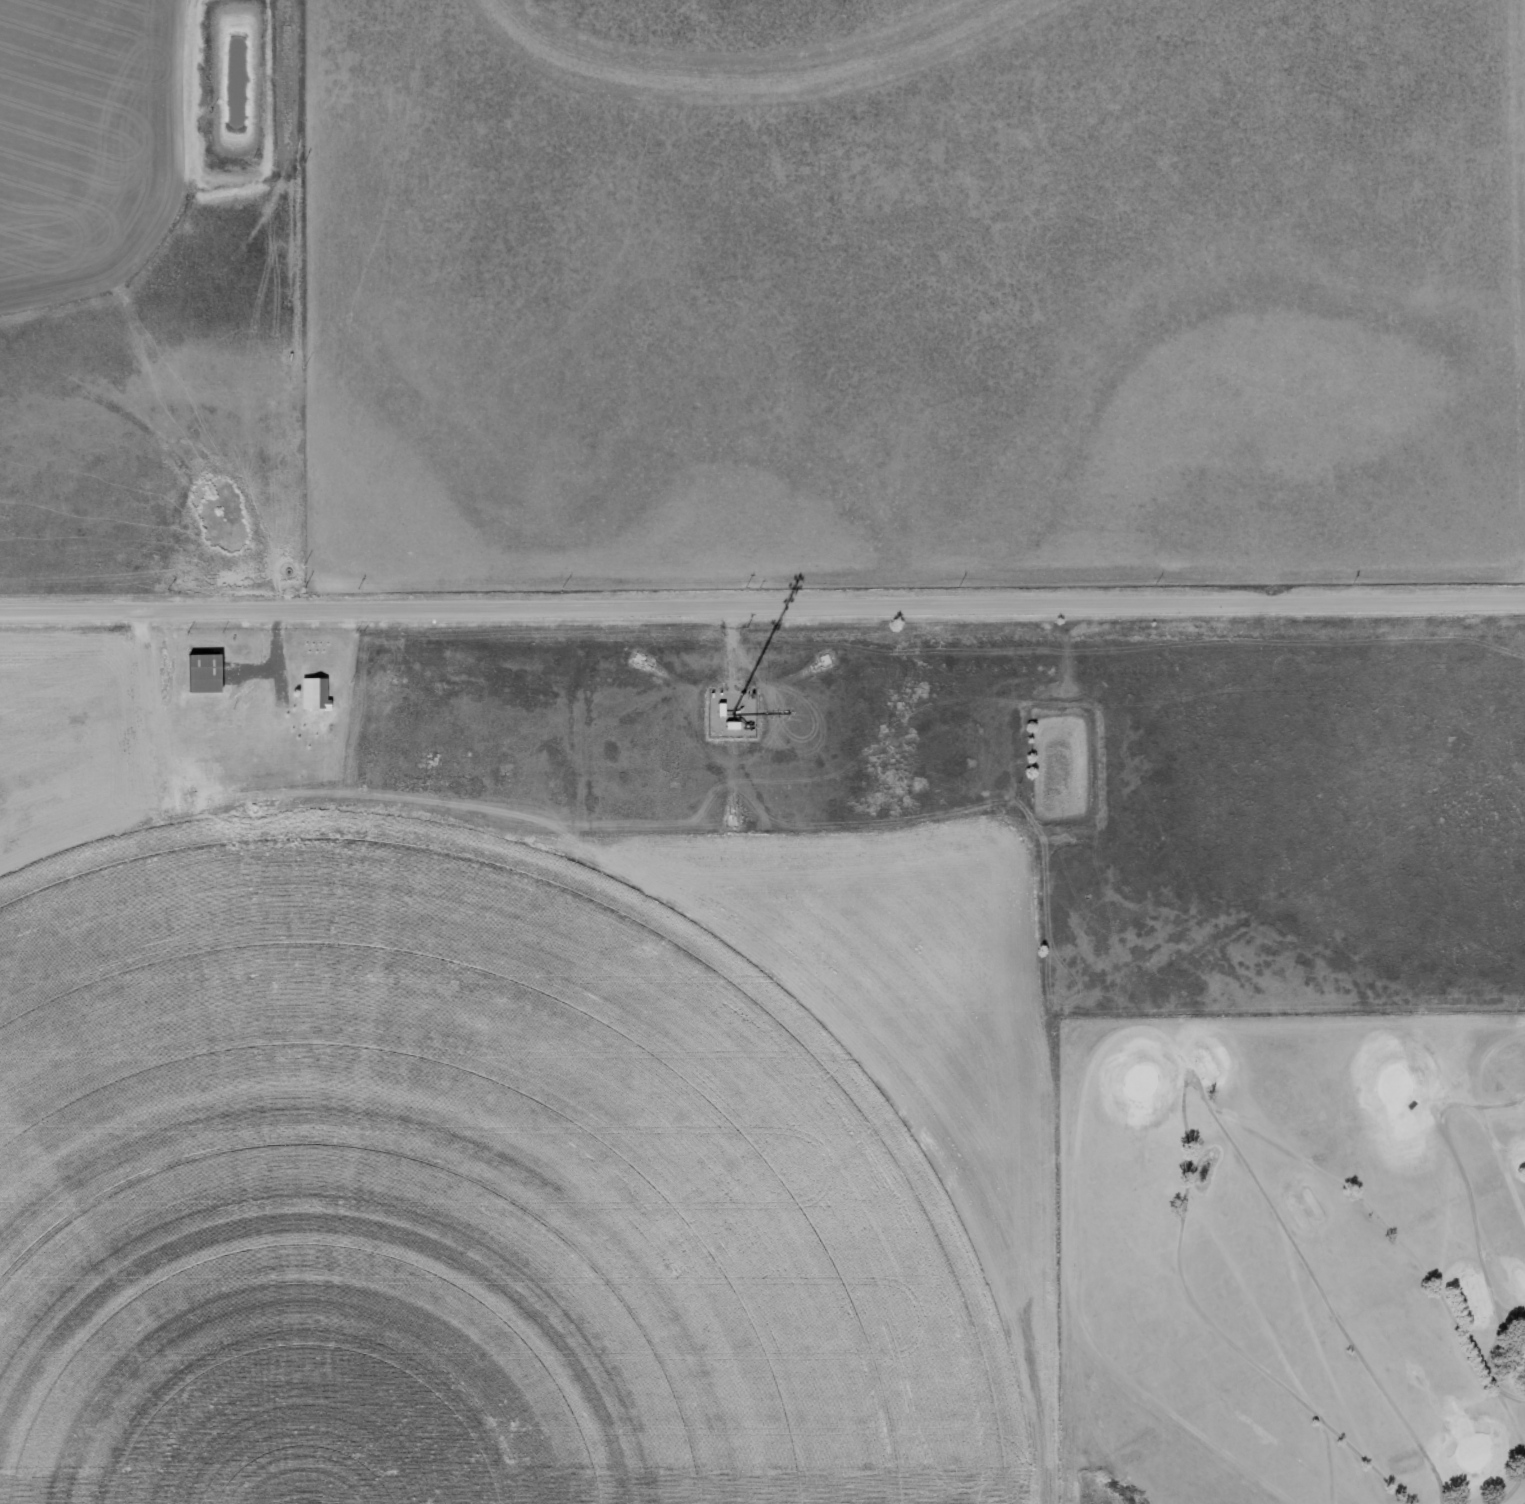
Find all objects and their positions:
road: (762, 605)
park: (1291, 1258)

